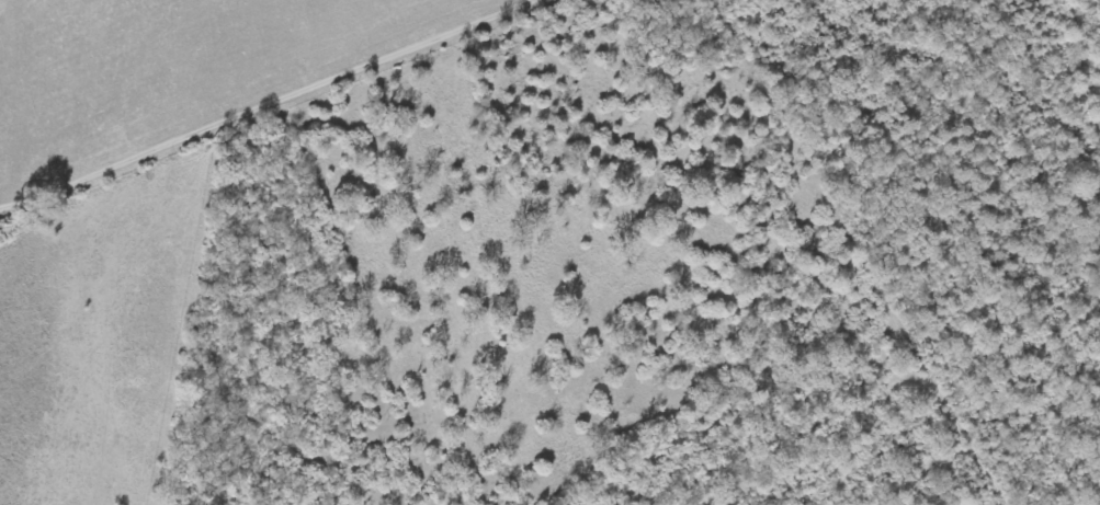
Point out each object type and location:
road: (267, 106)

